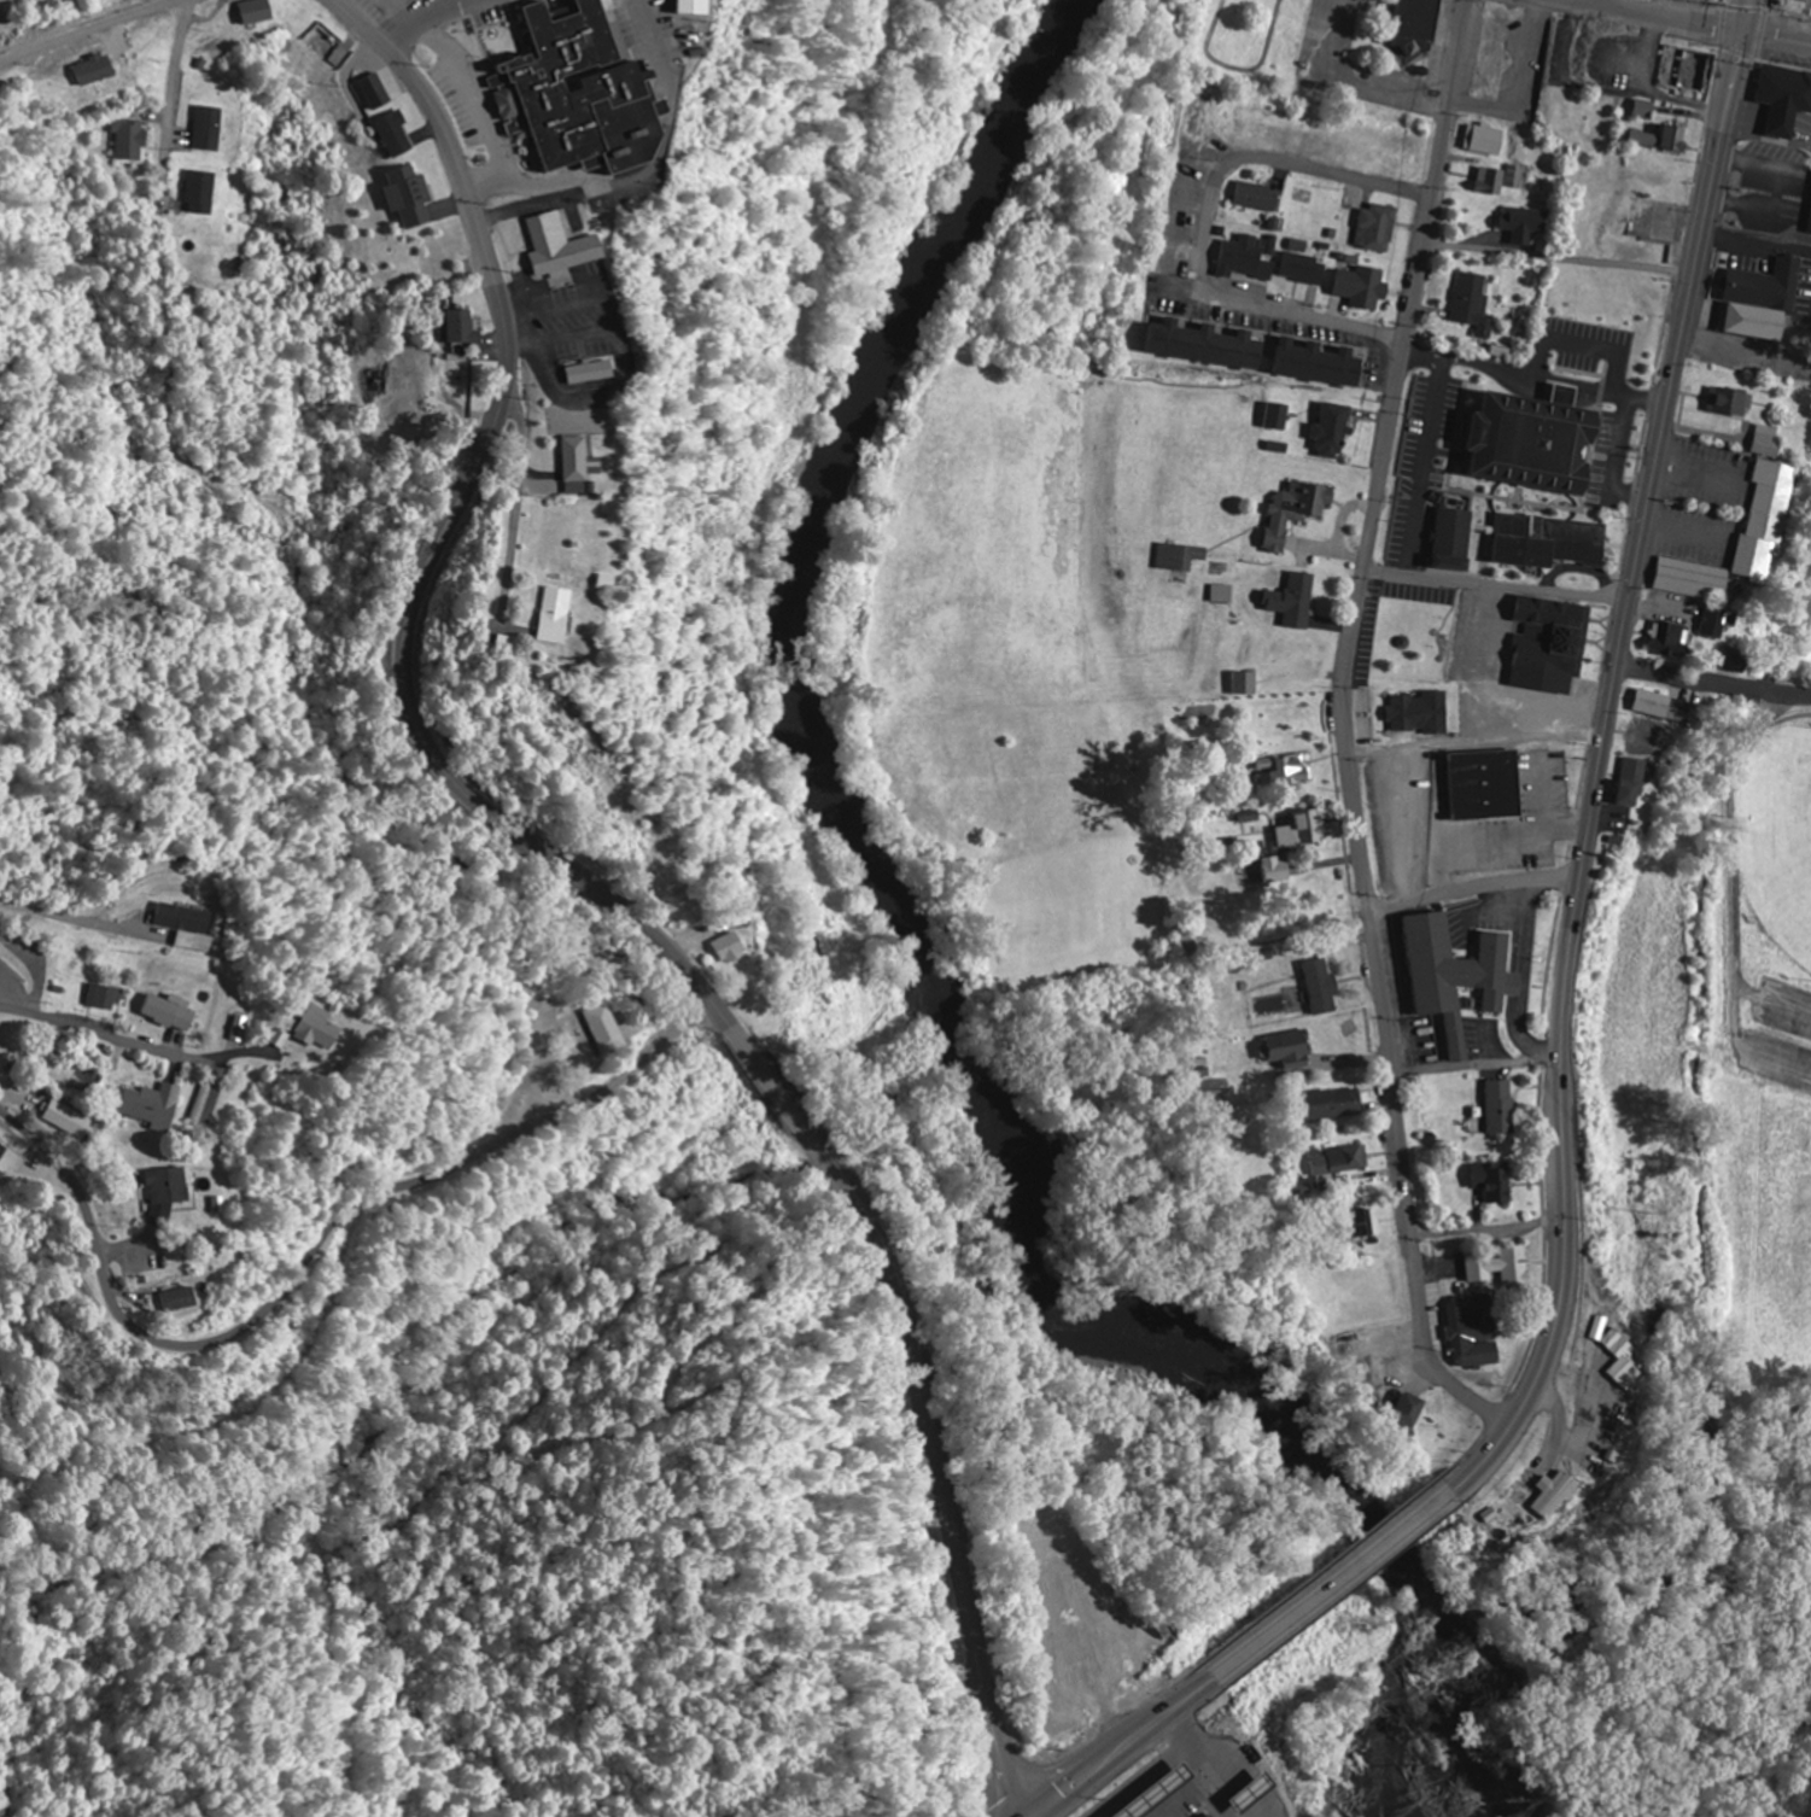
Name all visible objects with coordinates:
road: (1607, 2)
building: (699, 7)
building: (261, 12)
road: (1655, 14)
road: (430, 19)
building: (1418, 22)
road: (89, 30)
road: (1775, 37)
road: (2, 69)
building: (98, 71)
building: (385, 89)
building: (574, 89)
road: (171, 99)
building: (1787, 99)
building: (1644, 110)
building: (209, 129)
building: (399, 134)
building: (132, 139)
building: (1665, 139)
building: (1488, 140)
road: (1264, 160)
parking lot: (1774, 166)
road: (647, 171)
building: (1500, 180)
building: (200, 193)
building: (413, 197)
building: (1261, 198)
building: (1527, 224)
building: (1380, 229)
building: (563, 246)
building: (1302, 247)
road: (1558, 263)
building: (1305, 269)
building: (1366, 287)
building: (1765, 302)
building: (1477, 304)
road: (1291, 314)
building: (466, 328)
building: (1210, 346)
building: (1322, 364)
building: (592, 373)
building: (1281, 416)
building: (1336, 430)
building: (1769, 440)
building: (1543, 443)
building: (578, 462)
road: (518, 485)
parking lot: (1702, 502)
building: (1301, 512)
building: (1768, 521)
building: (1182, 557)
building: (1696, 579)
road: (1497, 584)
building: (1225, 595)
building: (1298, 602)
building: (557, 617)
building: (1719, 623)
building: (1675, 641)
building: (1554, 645)
road: (1684, 678)
building: (1248, 684)
road: (1764, 689)
road: (1792, 694)
building: (1667, 708)
building: (1424, 714)
road: (1345, 729)
road: (1474, 738)
road: (1600, 754)
building: (1292, 775)
building: (1635, 783)
building: (1486, 785)
building: (1307, 834)
park: (1778, 835)
building: (1281, 871)
road: (596, 886)
road: (1474, 887)
road: (1731, 895)
building: (188, 925)
building: (1, 943)
building: (732, 947)
building: (1453, 978)
river: (935, 980)
building: (1325, 988)
building: (107, 997)
building: (174, 1011)
building: (243, 1028)
building: (320, 1028)
building: (603, 1029)
road: (109, 1035)
parking lot: (1776, 1035)
building: (282, 1038)
building: (1290, 1051)
park: (1719, 1058)
road: (1476, 1068)
building: (1337, 1103)
building: (156, 1104)
building: (204, 1104)
building: (1502, 1109)
building: (71, 1120)
building: (4, 1151)
building: (1344, 1161)
building: (1496, 1181)
building: (170, 1191)
building: (1374, 1222)
road: (1488, 1231)
road: (310, 1251)
building: (1502, 1266)
building: (180, 1299)
building: (1474, 1333)
building: (1619, 1357)
building: (1414, 1410)
road: (1554, 1431)
building: (1556, 1494)
road: (1334, 1581)
road: (1123, 1746)

